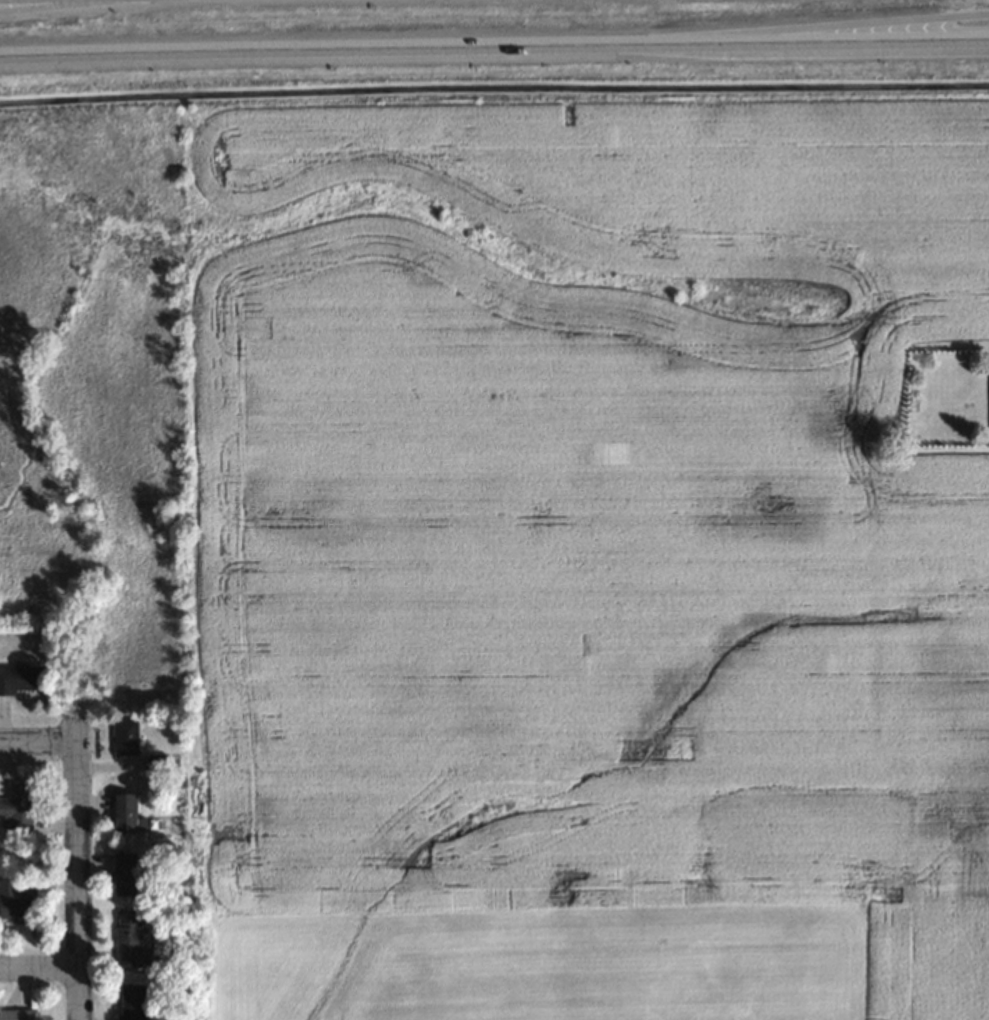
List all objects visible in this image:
road: (64, 6)
road: (787, 27)
road: (494, 47)
road: (494, 86)
crop: (593, 512)
building: (24, 678)
building: (129, 735)
road: (38, 741)
building: (20, 807)
building: (131, 811)
road: (77, 867)
building: (133, 872)
building: (18, 901)
building: (135, 940)
park: (531, 960)
road: (39, 966)
building: (135, 1001)
building: (19, 1014)

